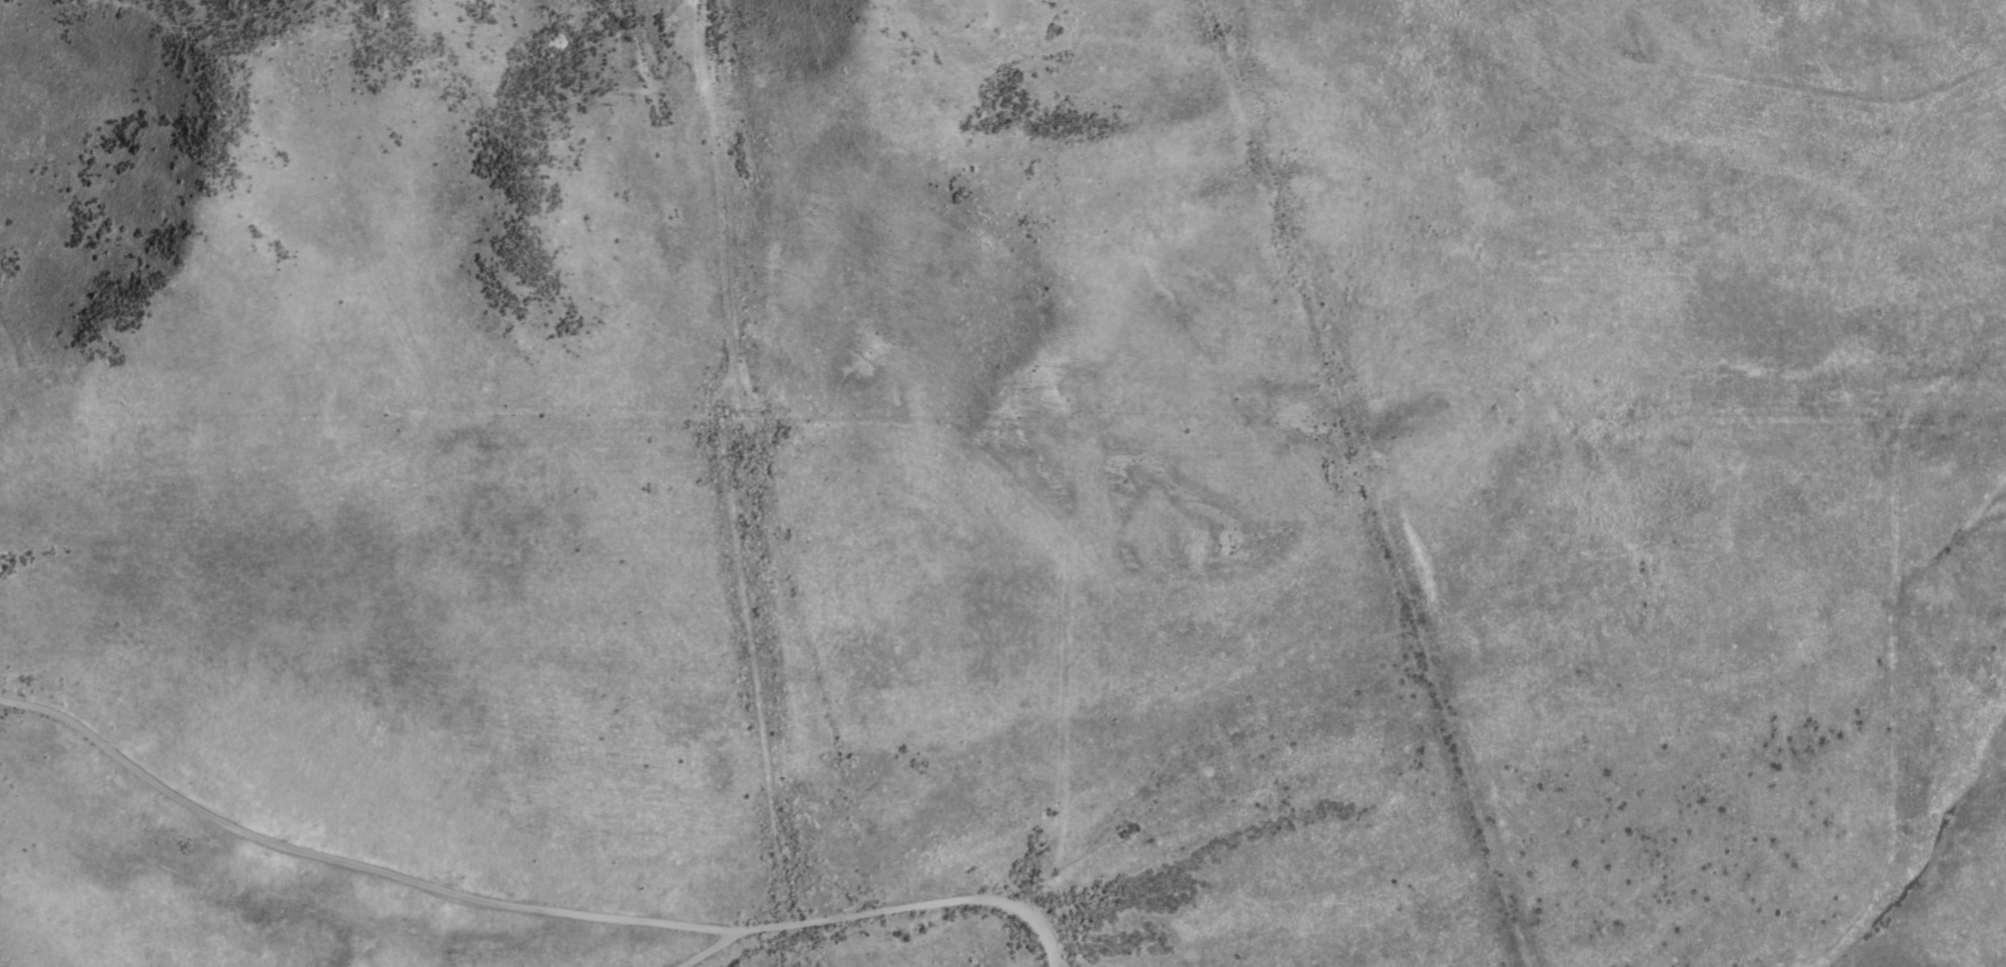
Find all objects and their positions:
road: (719, 160)
road: (355, 858)
road: (924, 912)
road: (714, 948)

